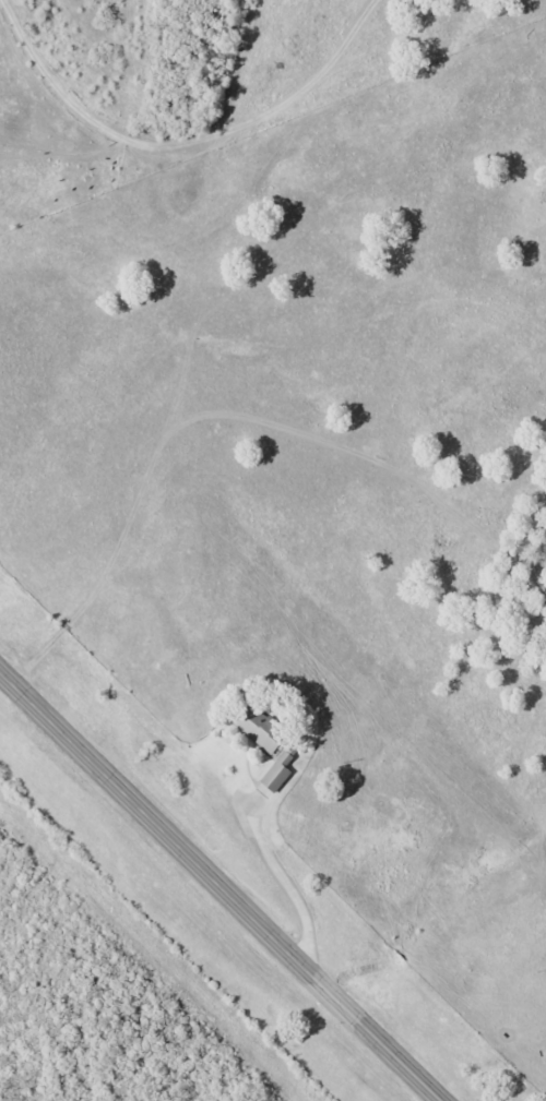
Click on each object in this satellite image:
building: (257, 729)
building: (274, 774)
road: (216, 889)

